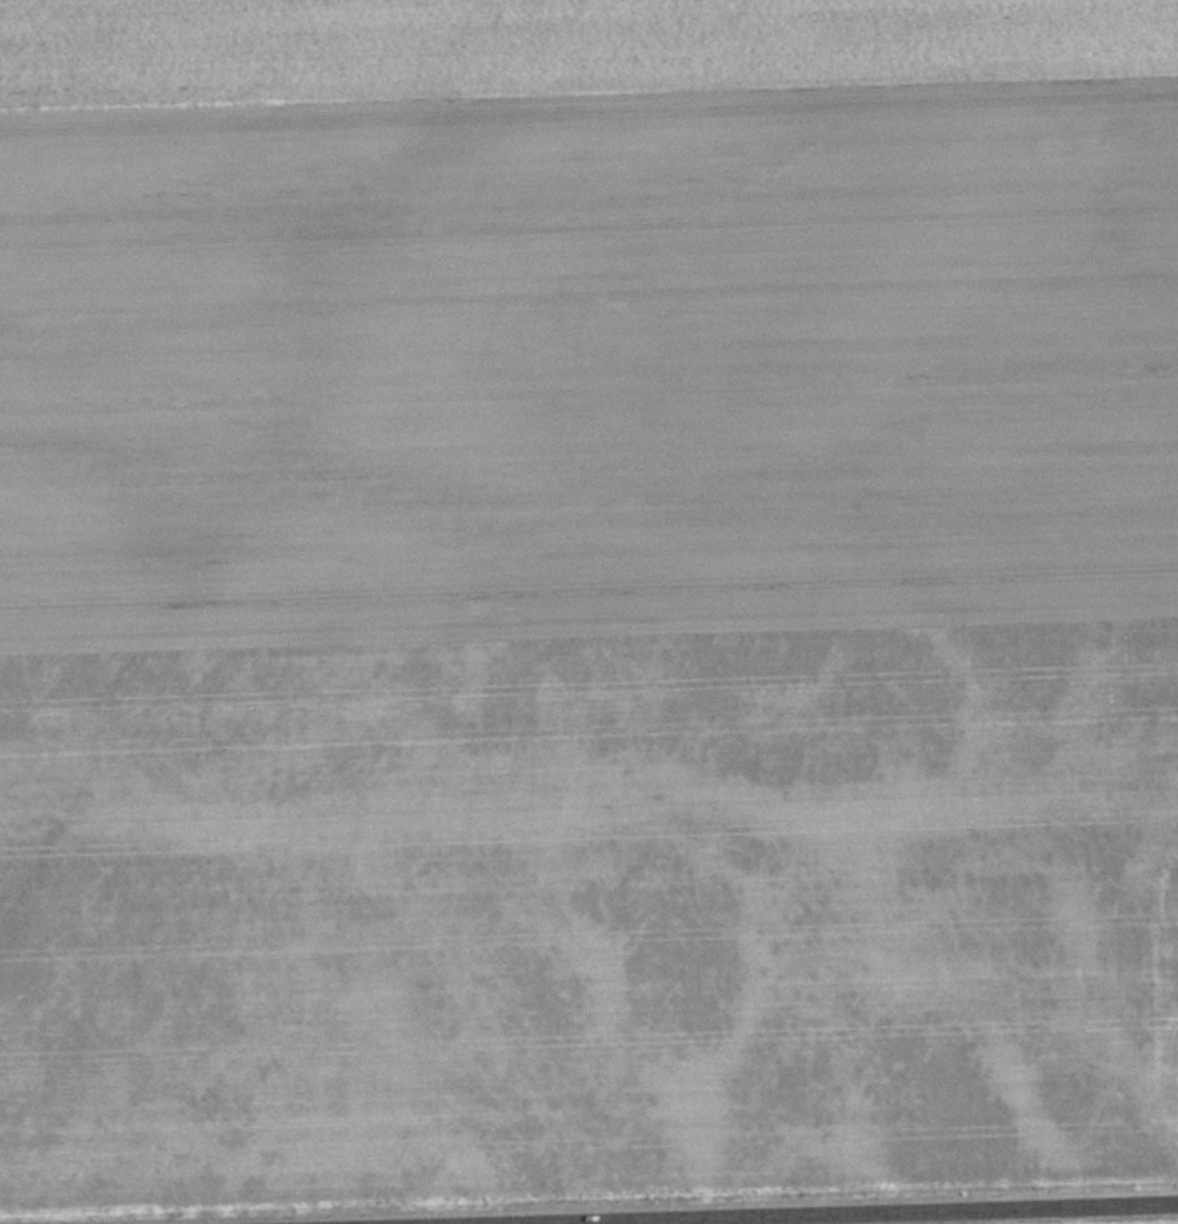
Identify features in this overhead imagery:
road: (866, 1214)

